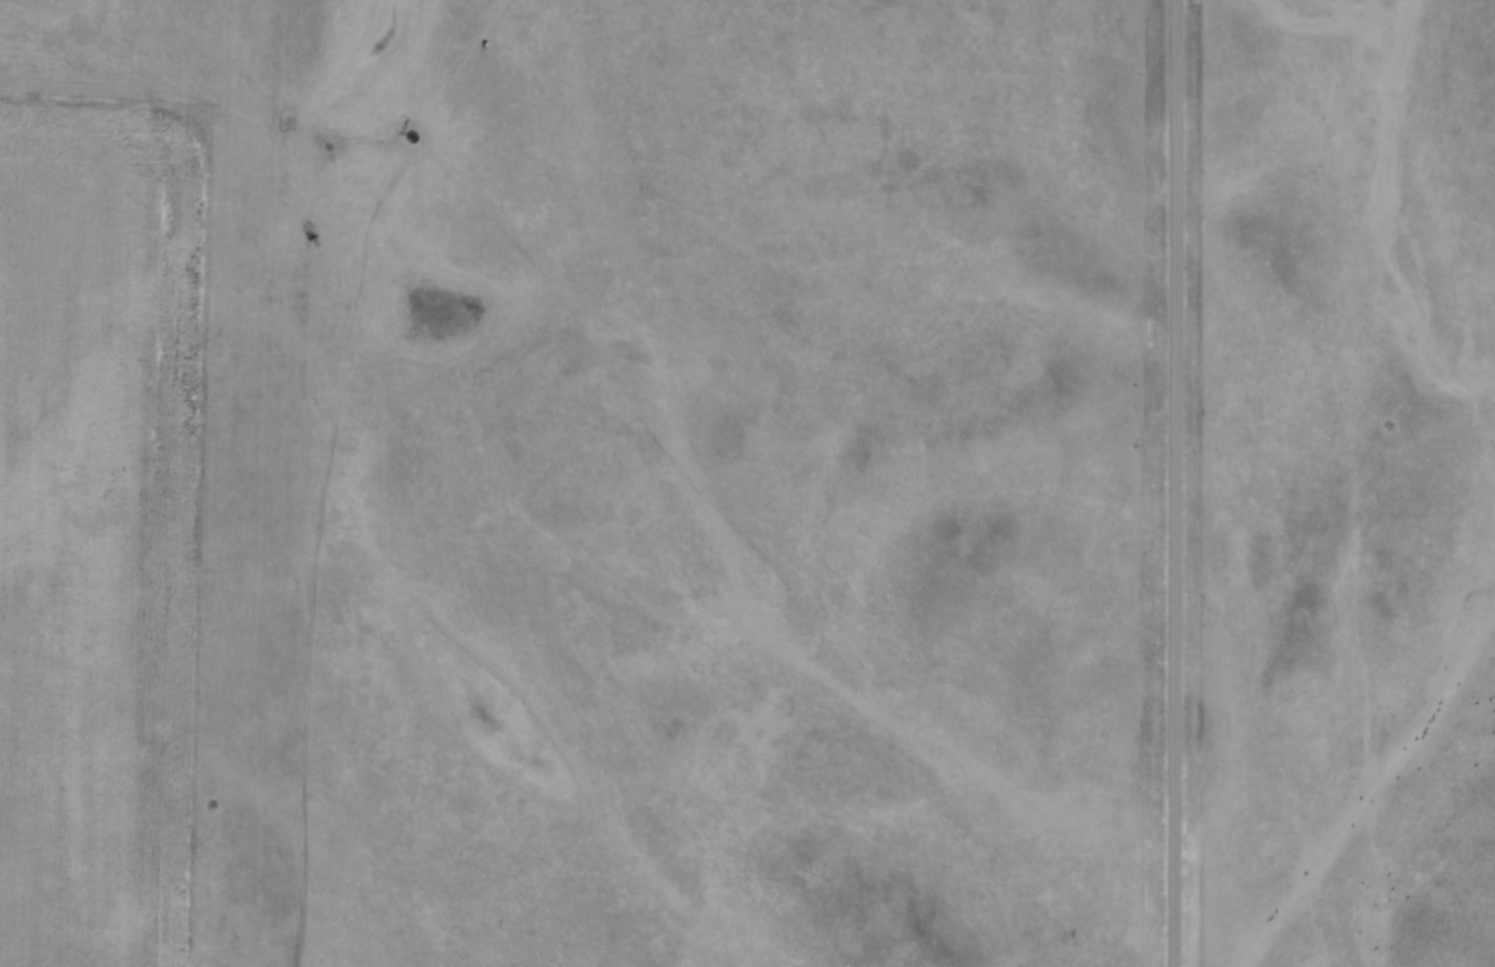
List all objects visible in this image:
road: (1178, 483)

